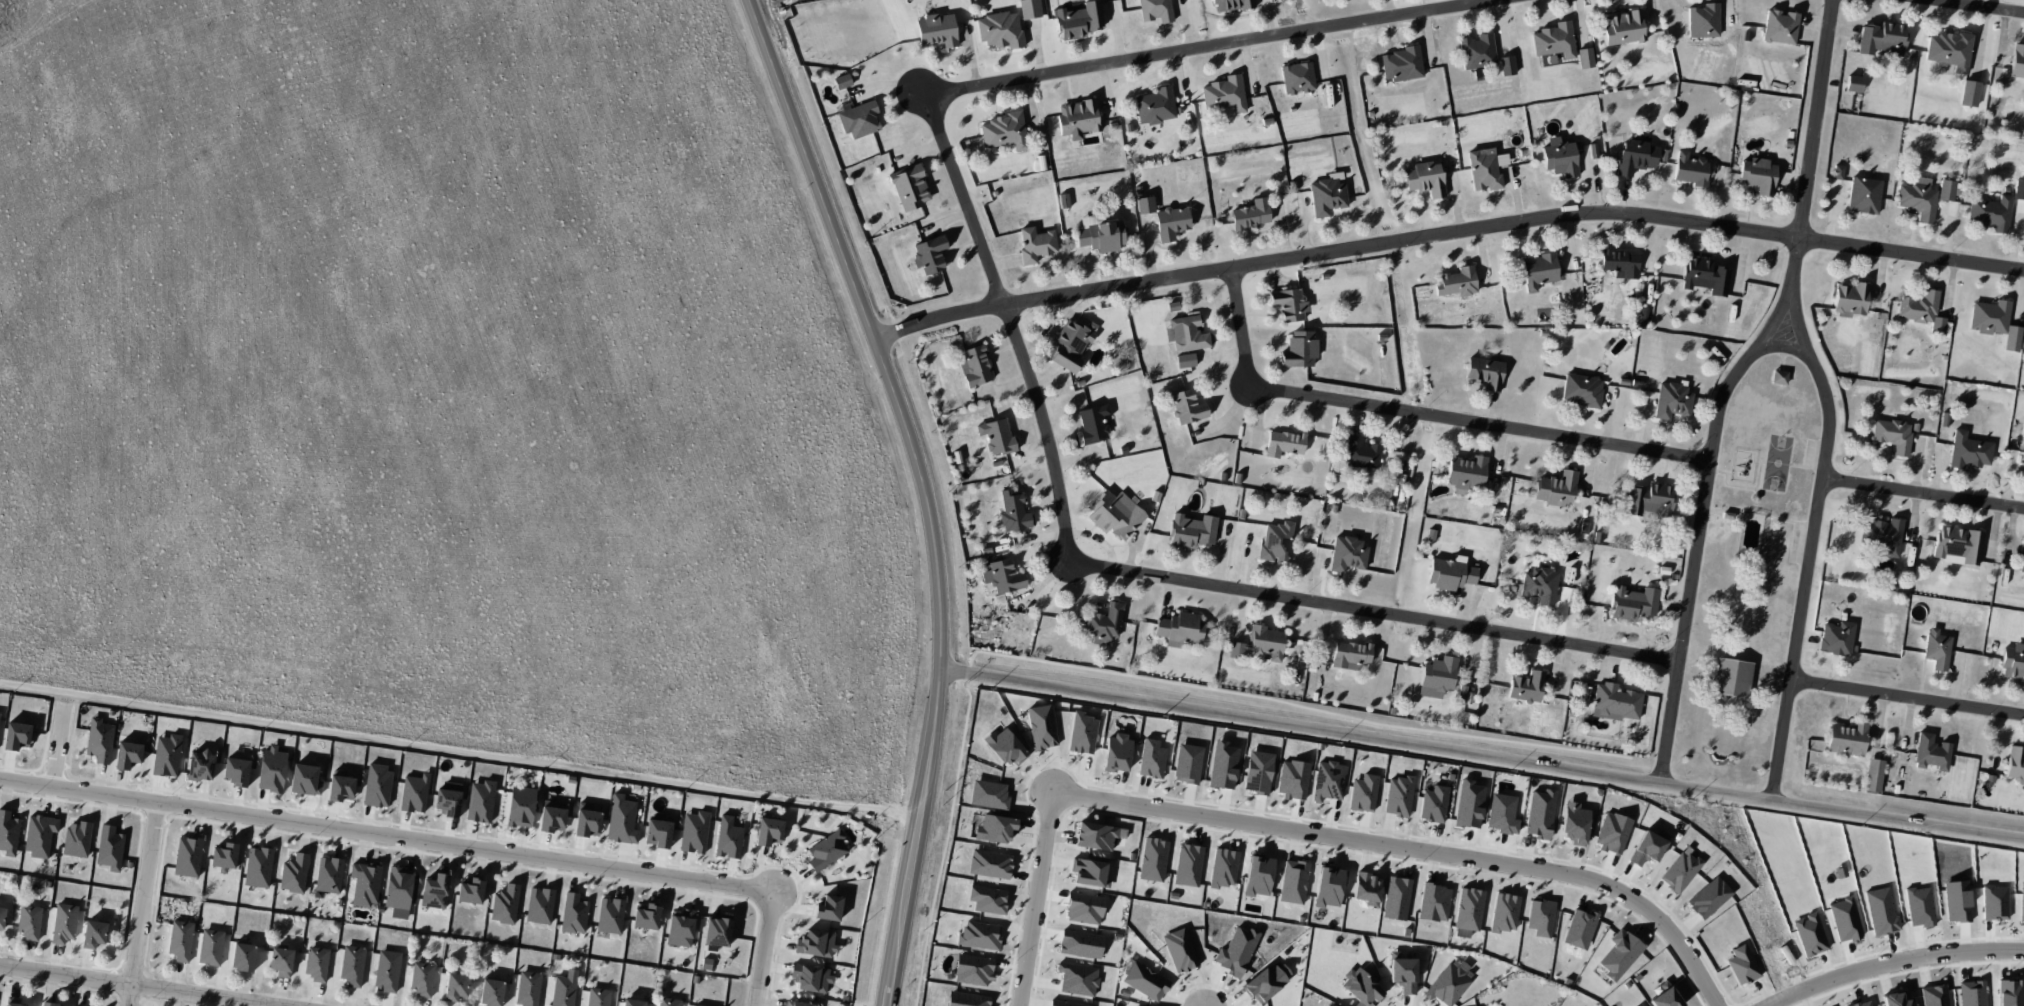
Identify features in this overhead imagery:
building: (1231, 5)
road: (1977, 7)
building: (1029, 9)
building: (1155, 10)
building: (1078, 20)
building: (1703, 21)
building: (1623, 27)
building: (1779, 27)
building: (936, 30)
building: (999, 30)
building: (1882, 38)
building: (1554, 40)
building: (1949, 50)
building: (1477, 51)
building: (1585, 57)
building: (2017, 62)
road: (1096, 64)
building: (1400, 64)
building: (1506, 65)
building: (1297, 78)
building: (842, 81)
building: (1853, 83)
building: (1968, 93)
building: (1224, 94)
building: (1155, 106)
building: (1078, 117)
building: (859, 119)
building: (1004, 131)
building: (1636, 155)
road: (1810, 155)
building: (1559, 157)
building: (1483, 169)
building: (1690, 169)
building: (1837, 172)
building: (1757, 175)
building: (1424, 178)
building: (909, 187)
building: (2018, 189)
building: (1946, 190)
building: (1863, 195)
building: (1327, 196)
building: (1917, 200)
building: (1063, 201)
building: (1144, 205)
building: (1990, 213)
building: (1251, 214)
building: (1171, 222)
road: (1445, 233)
building: (1101, 236)
building: (1035, 244)
building: (929, 254)
building: (1620, 263)
building: (1538, 270)
building: (1704, 276)
building: (1456, 282)
building: (1850, 299)
building: (1288, 303)
building: (1921, 310)
building: (1994, 322)
building: (1186, 333)
building: (1070, 345)
building: (1299, 349)
building: (1185, 360)
building: (974, 366)
building: (1485, 373)
building: (1779, 377)
building: (1581, 390)
building: (1672, 401)
building: (1187, 407)
road: (1418, 414)
building: (1093, 423)
building: (1892, 435)
building: (996, 436)
building: (1283, 443)
building: (1968, 451)
building: (1360, 453)
building: (1466, 472)
building: (1555, 488)
road: (919, 490)
road: (1925, 495)
building: (1649, 500)
building: (1013, 511)
building: (1115, 514)
building: (1191, 530)
building: (1882, 534)
road: (1699, 535)
building: (1275, 542)
building: (1957, 545)
road: (1813, 553)
building: (1347, 554)
building: (2021, 558)
building: (1450, 574)
building: (1003, 576)
building: (1539, 585)
road: (1240, 591)
building: (1633, 603)
building: (1104, 623)
building: (1180, 629)
building: (1836, 638)
building: (1260, 643)
building: (1936, 649)
building: (1350, 654)
building: (2013, 662)
building: (1436, 677)
building: (1730, 677)
building: (1526, 687)
road: (1908, 696)
building: (1615, 702)
building: (1041, 726)
building: (1082, 733)
building: (17, 735)
road: (59, 738)
building: (1846, 739)
building: (99, 740)
building: (1004, 746)
road: (459, 750)
building: (1931, 752)
building: (1117, 753)
road: (1480, 753)
building: (128, 755)
building: (166, 755)
building: (1151, 758)
building: (1187, 763)
building: (2015, 764)
building: (200, 765)
building: (1222, 765)
building: (271, 769)
building: (236, 771)
building: (1258, 772)
building: (1873, 775)
building: (305, 779)
building: (1293, 779)
building: (1328, 780)
building: (377, 785)
building: (340, 786)
building: (414, 793)
building: (1363, 793)
building: (989, 794)
building: (1398, 796)
building: (480, 801)
building: (448, 802)
building: (1433, 804)
building: (1468, 804)
building: (520, 806)
building: (1502, 813)
building: (1540, 813)
building: (552, 816)
building: (586, 820)
building: (621, 820)
building: (1574, 823)
building: (996, 828)
building: (658, 831)
building: (768, 831)
building: (694, 832)
building: (1612, 832)
building: (8, 833)
road: (388, 834)
building: (39, 835)
building: (1095, 836)
building: (728, 838)
building: (76, 839)
building: (1647, 847)
building: (110, 848)
road: (1414, 849)
building: (826, 850)
building: (187, 856)
building: (224, 856)
building: (1153, 859)
building: (990, 864)
building: (1188, 865)
building: (258, 867)
building: (1223, 868)
building: (1679, 871)
building: (293, 873)
building: (1089, 873)
building: (328, 874)
building: (1258, 875)
building: (1293, 881)
building: (365, 883)
building: (1329, 886)
building: (398, 888)
building: (1367, 888)
building: (470, 890)
building: (434, 891)
building: (1708, 897)
building: (1396, 898)
building: (987, 899)
road: (1034, 899)
building: (1434, 902)
road: (141, 903)
building: (504, 904)
building: (539, 905)
building: (828, 908)
building: (1084, 908)
building: (1469, 909)
building: (1504, 912)
building: (573, 913)
building: (610, 915)
building: (646, 916)
building: (2, 917)
building: (1540, 917)
building: (29, 922)
building: (64, 923)
building: (680, 928)
building: (1579, 929)
building: (717, 930)
building: (94, 934)
building: (979, 934)
building: (180, 940)
building: (816, 943)
building: (1080, 943)
building: (211, 947)
road: (767, 947)
building: (1180, 950)
building: (1236, 952)
building: (1619, 954)
building: (243, 956)
building: (281, 961)
building: (316, 963)
road: (1895, 963)
building: (352, 965)
building: (1742, 965)
building: (387, 970)
building: (973, 970)
building: (1402, 973)
building: (811, 977)
building: (422, 979)
building: (1078, 979)
building: (1145, 981)
building: (1266, 981)
building: (1448, 984)
road: (133, 986)
building: (455, 986)
building: (1361, 987)
building: (527, 988)
building: (564, 989)
building: (491, 991)
building: (597, 997)
building: (1665, 998)
building: (966, 999)
building: (13, 1001)
building: (632, 1002)
building: (668, 1002)
building: (796, 1003)
building: (1064, 1003)
building: (50, 1004)
building: (697, 1005)
building: (1328, 1005)
building: (1638, 1005)

